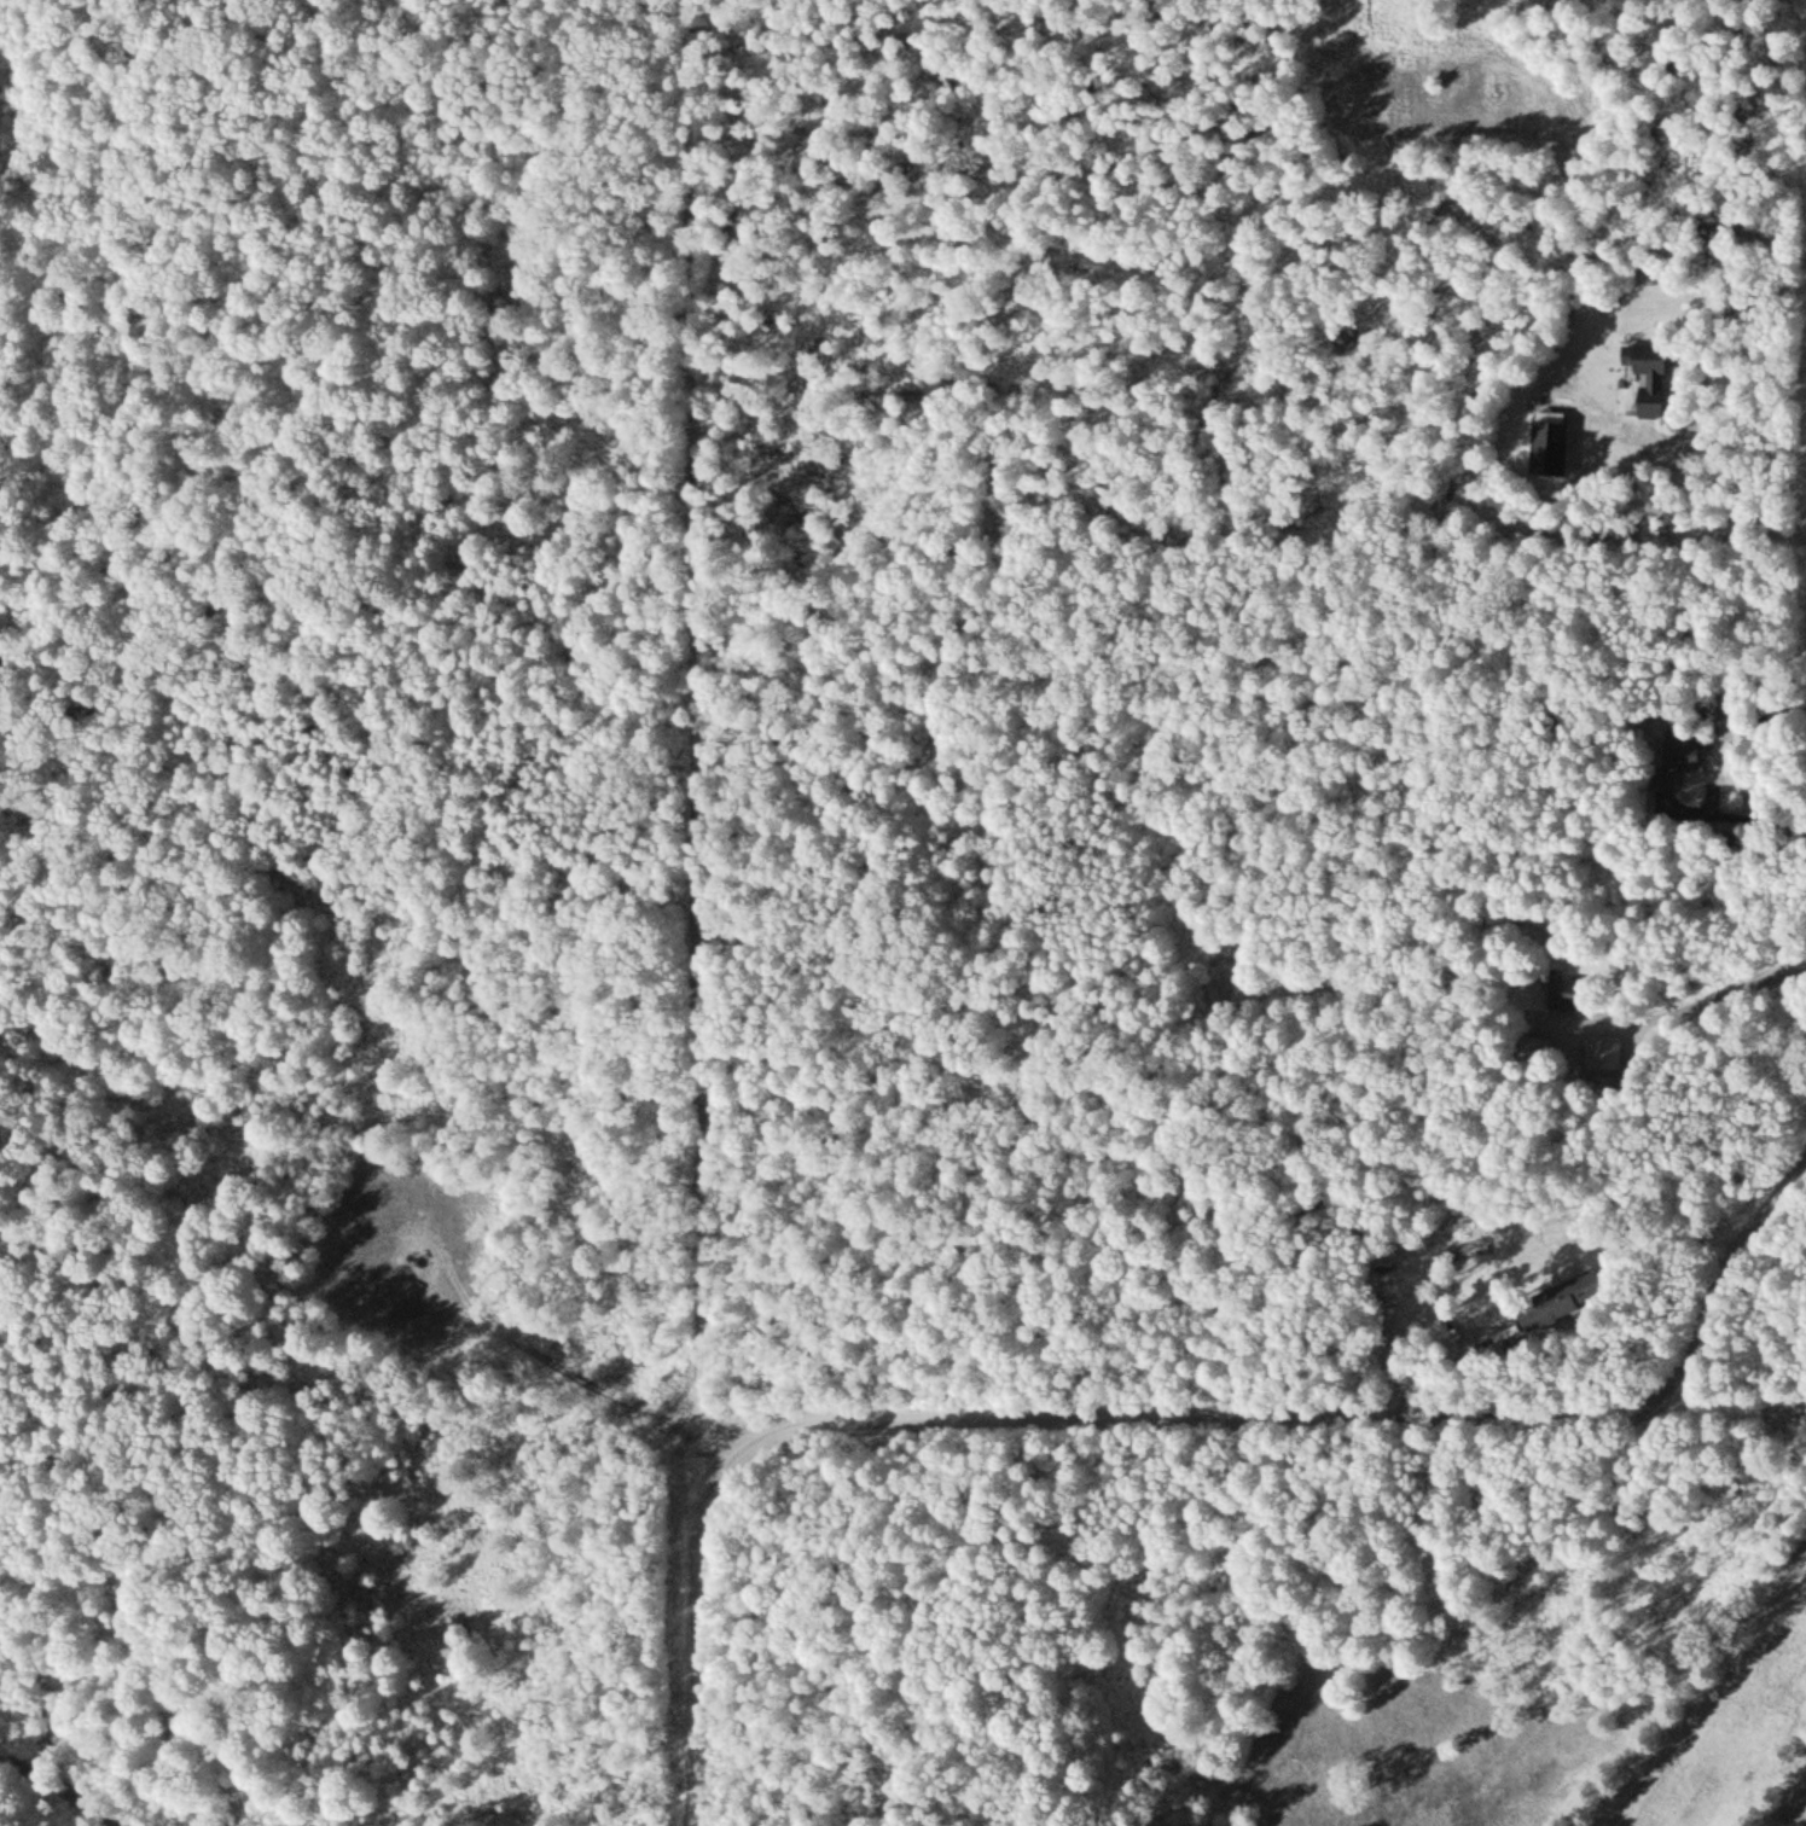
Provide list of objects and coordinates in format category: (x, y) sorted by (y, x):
building: (1659, 376)
building: (1557, 447)
road: (0, 620)
building: (6, 659)
road: (687, 709)
building: (1576, 994)
petroleum well: (413, 1251)
road: (587, 1362)
road: (1148, 1421)
park: (1724, 1703)
road: (64, 1789)

